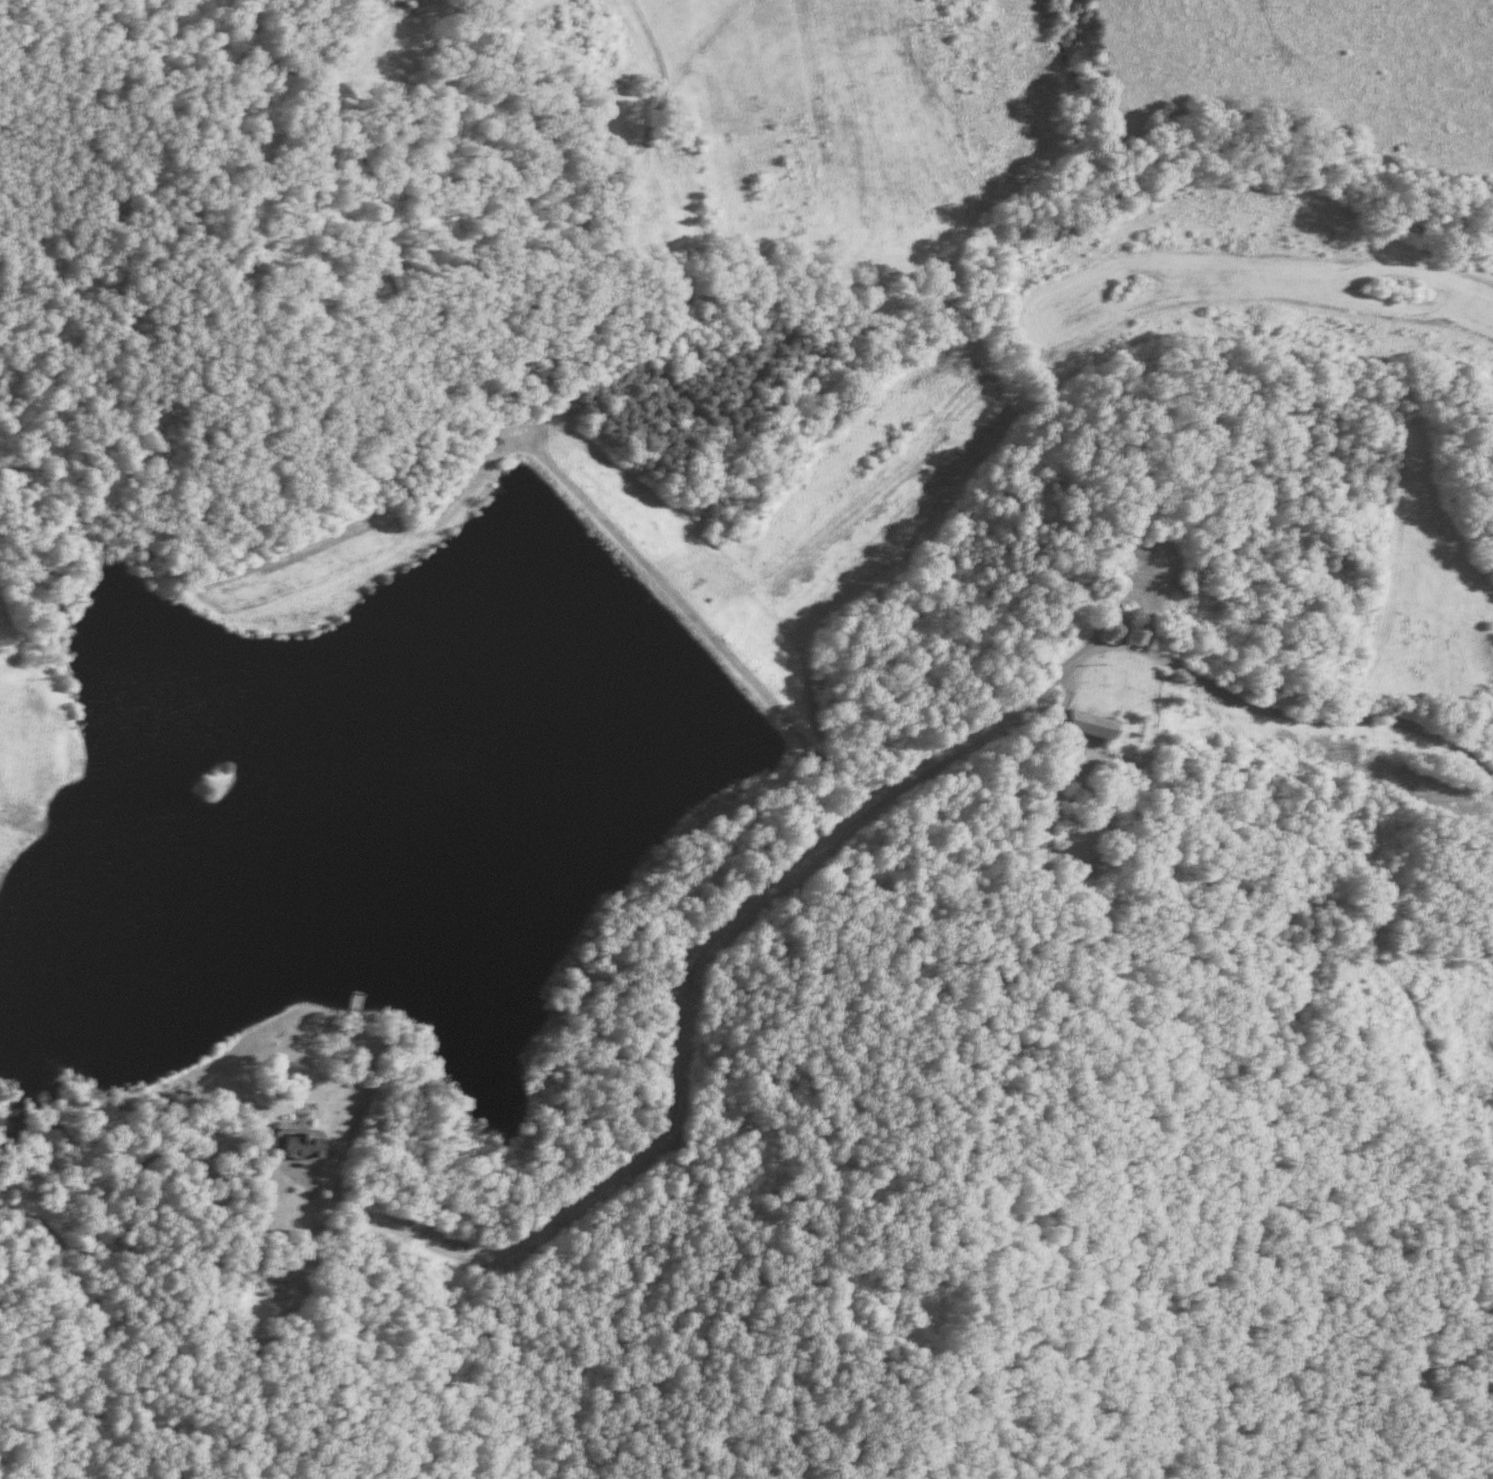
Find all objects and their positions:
building: (1080, 724)
road: (798, 861)
building: (278, 1146)

